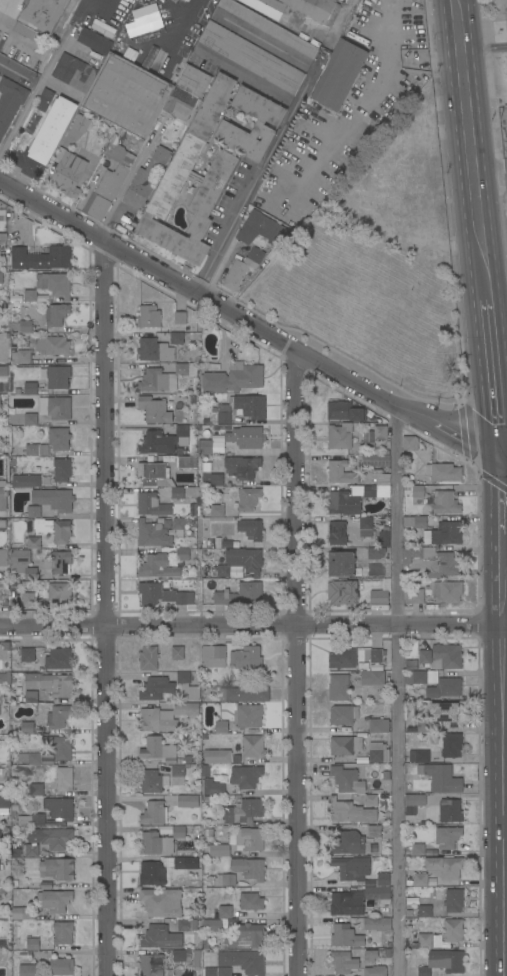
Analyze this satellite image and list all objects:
building: (186, 0)
building: (344, 0)
building: (263, 8)
building: (500, 9)
road: (82, 10)
building: (307, 10)
building: (143, 16)
building: (39, 17)
road: (188, 19)
building: (268, 27)
building: (94, 41)
road: (483, 50)
building: (251, 57)
building: (341, 71)
road: (16, 73)
building: (74, 73)
building: (185, 92)
building: (126, 93)
road: (30, 99)
building: (43, 99)
building: (10, 101)
building: (224, 123)
building: (70, 129)
road: (281, 130)
building: (45, 139)
building: (295, 139)
road: (469, 144)
building: (229, 153)
road: (489, 172)
building: (72, 173)
building: (146, 175)
road: (128, 177)
building: (108, 180)
building: (212, 184)
building: (2, 213)
building: (261, 229)
building: (41, 258)
building: (242, 268)
building: (1, 277)
building: (56, 285)
building: (30, 295)
road: (495, 296)
building: (56, 314)
building: (148, 316)
building: (180, 318)
road: (249, 323)
building: (21, 327)
building: (176, 338)
building: (53, 346)
building: (154, 350)
building: (21, 356)
building: (3, 370)
building: (58, 377)
building: (165, 377)
road: (491, 377)
building: (232, 378)
building: (26, 389)
building: (54, 407)
building: (156, 408)
building: (242, 408)
building: (345, 411)
building: (29, 419)
building: (379, 432)
building: (339, 436)
building: (246, 437)
building: (160, 440)
building: (50, 443)
building: (409, 443)
building: (205, 447)
building: (375, 460)
building: (187, 462)
traffic signals: (500, 465)
road: (503, 466)
building: (62, 469)
building: (212, 470)
building: (240, 471)
building: (340, 472)
building: (443, 472)
building: (152, 475)
building: (24, 479)
building: (377, 484)
building: (418, 491)
building: (177, 493)
building: (3, 498)
building: (247, 498)
building: (53, 499)
road: (501, 499)
building: (443, 502)
building: (343, 503)
building: (151, 504)
building: (217, 510)
building: (33, 511)
building: (415, 521)
building: (3, 524)
building: (180, 524)
building: (365, 527)
building: (250, 528)
building: (54, 529)
building: (337, 533)
building: (444, 533)
building: (152, 534)
building: (384, 537)
building: (33, 543)
building: (376, 553)
building: (182, 554)
building: (2, 555)
building: (20, 557)
building: (241, 561)
building: (431, 561)
building: (59, 562)
building: (341, 564)
building: (157, 567)
building: (30, 573)
building: (447, 591)
building: (250, 592)
building: (342, 592)
building: (28, 593)
building: (59, 593)
building: (162, 594)
building: (413, 595)
building: (224, 597)
building: (379, 597)
road: (106, 608)
road: (253, 623)
building: (6, 646)
building: (177, 653)
building: (26, 654)
building: (376, 655)
building: (213, 656)
building: (446, 656)
building: (246, 657)
building: (424, 657)
building: (58, 658)
building: (148, 658)
building: (342, 658)
road: (295, 663)
building: (5, 675)
building: (372, 677)
building: (420, 677)
building: (50, 683)
building: (187, 686)
building: (338, 687)
building: (156, 688)
building: (444, 688)
road: (396, 691)
building: (245, 694)
building: (31, 697)
building: (1, 698)
building: (186, 708)
building: (449, 713)
building: (343, 714)
building: (58, 716)
building: (248, 716)
building: (156, 720)
building: (380, 725)
building: (423, 725)
building: (221, 727)
building: (27, 728)
building: (345, 745)
building: (452, 745)
building: (59, 746)
building: (253, 746)
building: (377, 753)
building: (162, 754)
road: (504, 755)
building: (217, 756)
building: (416, 756)
building: (30, 758)
building: (245, 776)
building: (64, 778)
building: (442, 778)
building: (346, 779)
building: (153, 782)
building: (212, 788)
building: (36, 790)
building: (371, 800)
building: (187, 801)
building: (5, 802)
building: (413, 803)
building: (59, 808)
building: (243, 811)
building: (449, 811)
building: (350, 812)
building: (153, 813)
building: (30, 820)
road: (505, 827)
building: (374, 831)
building: (208, 833)
building: (447, 836)
building: (51, 838)
building: (247, 839)
building: (160, 841)
building: (349, 843)
building: (216, 849)
building: (417, 849)
building: (31, 850)
building: (178, 862)
building: (445, 867)
building: (249, 868)
building: (56, 869)
building: (150, 873)
building: (361, 877)
building: (383, 879)
building: (420, 879)
building: (224, 880)
building: (3, 896)
building: (53, 900)
building: (454, 900)
building: (161, 902)
building: (250, 902)
building: (346, 903)
building: (424, 911)
building: (224, 912)
building: (23, 913)
building: (408, 913)
building: (377, 924)
building: (212, 926)
building: (452, 930)
building: (62, 932)
building: (166, 933)
building: (245, 936)
building: (345, 936)
building: (201, 941)
building: (420, 941)
building: (387, 944)
building: (34, 947)
building: (388, 953)
building: (370, 955)
building: (179, 956)
building: (243, 961)
building: (446, 961)
building: (344, 962)
building: (151, 965)
building: (61, 966)
building: (28, 970)
building: (222, 971)
building: (374, 971)
building: (423, 972)

